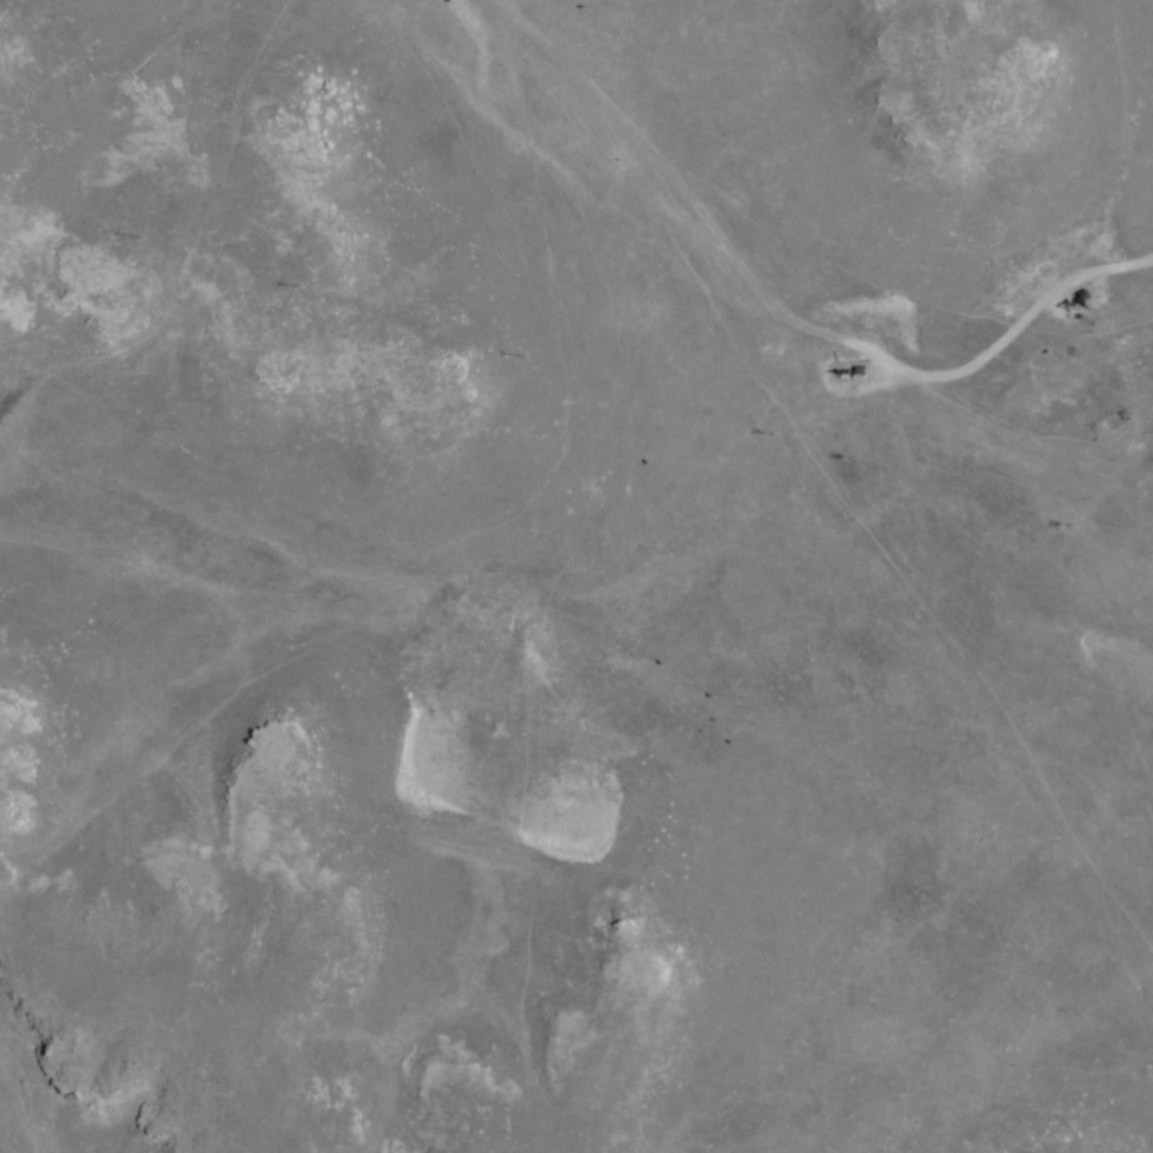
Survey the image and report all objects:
road: (1034, 312)
dam: (19, 388)
road: (832, 391)

